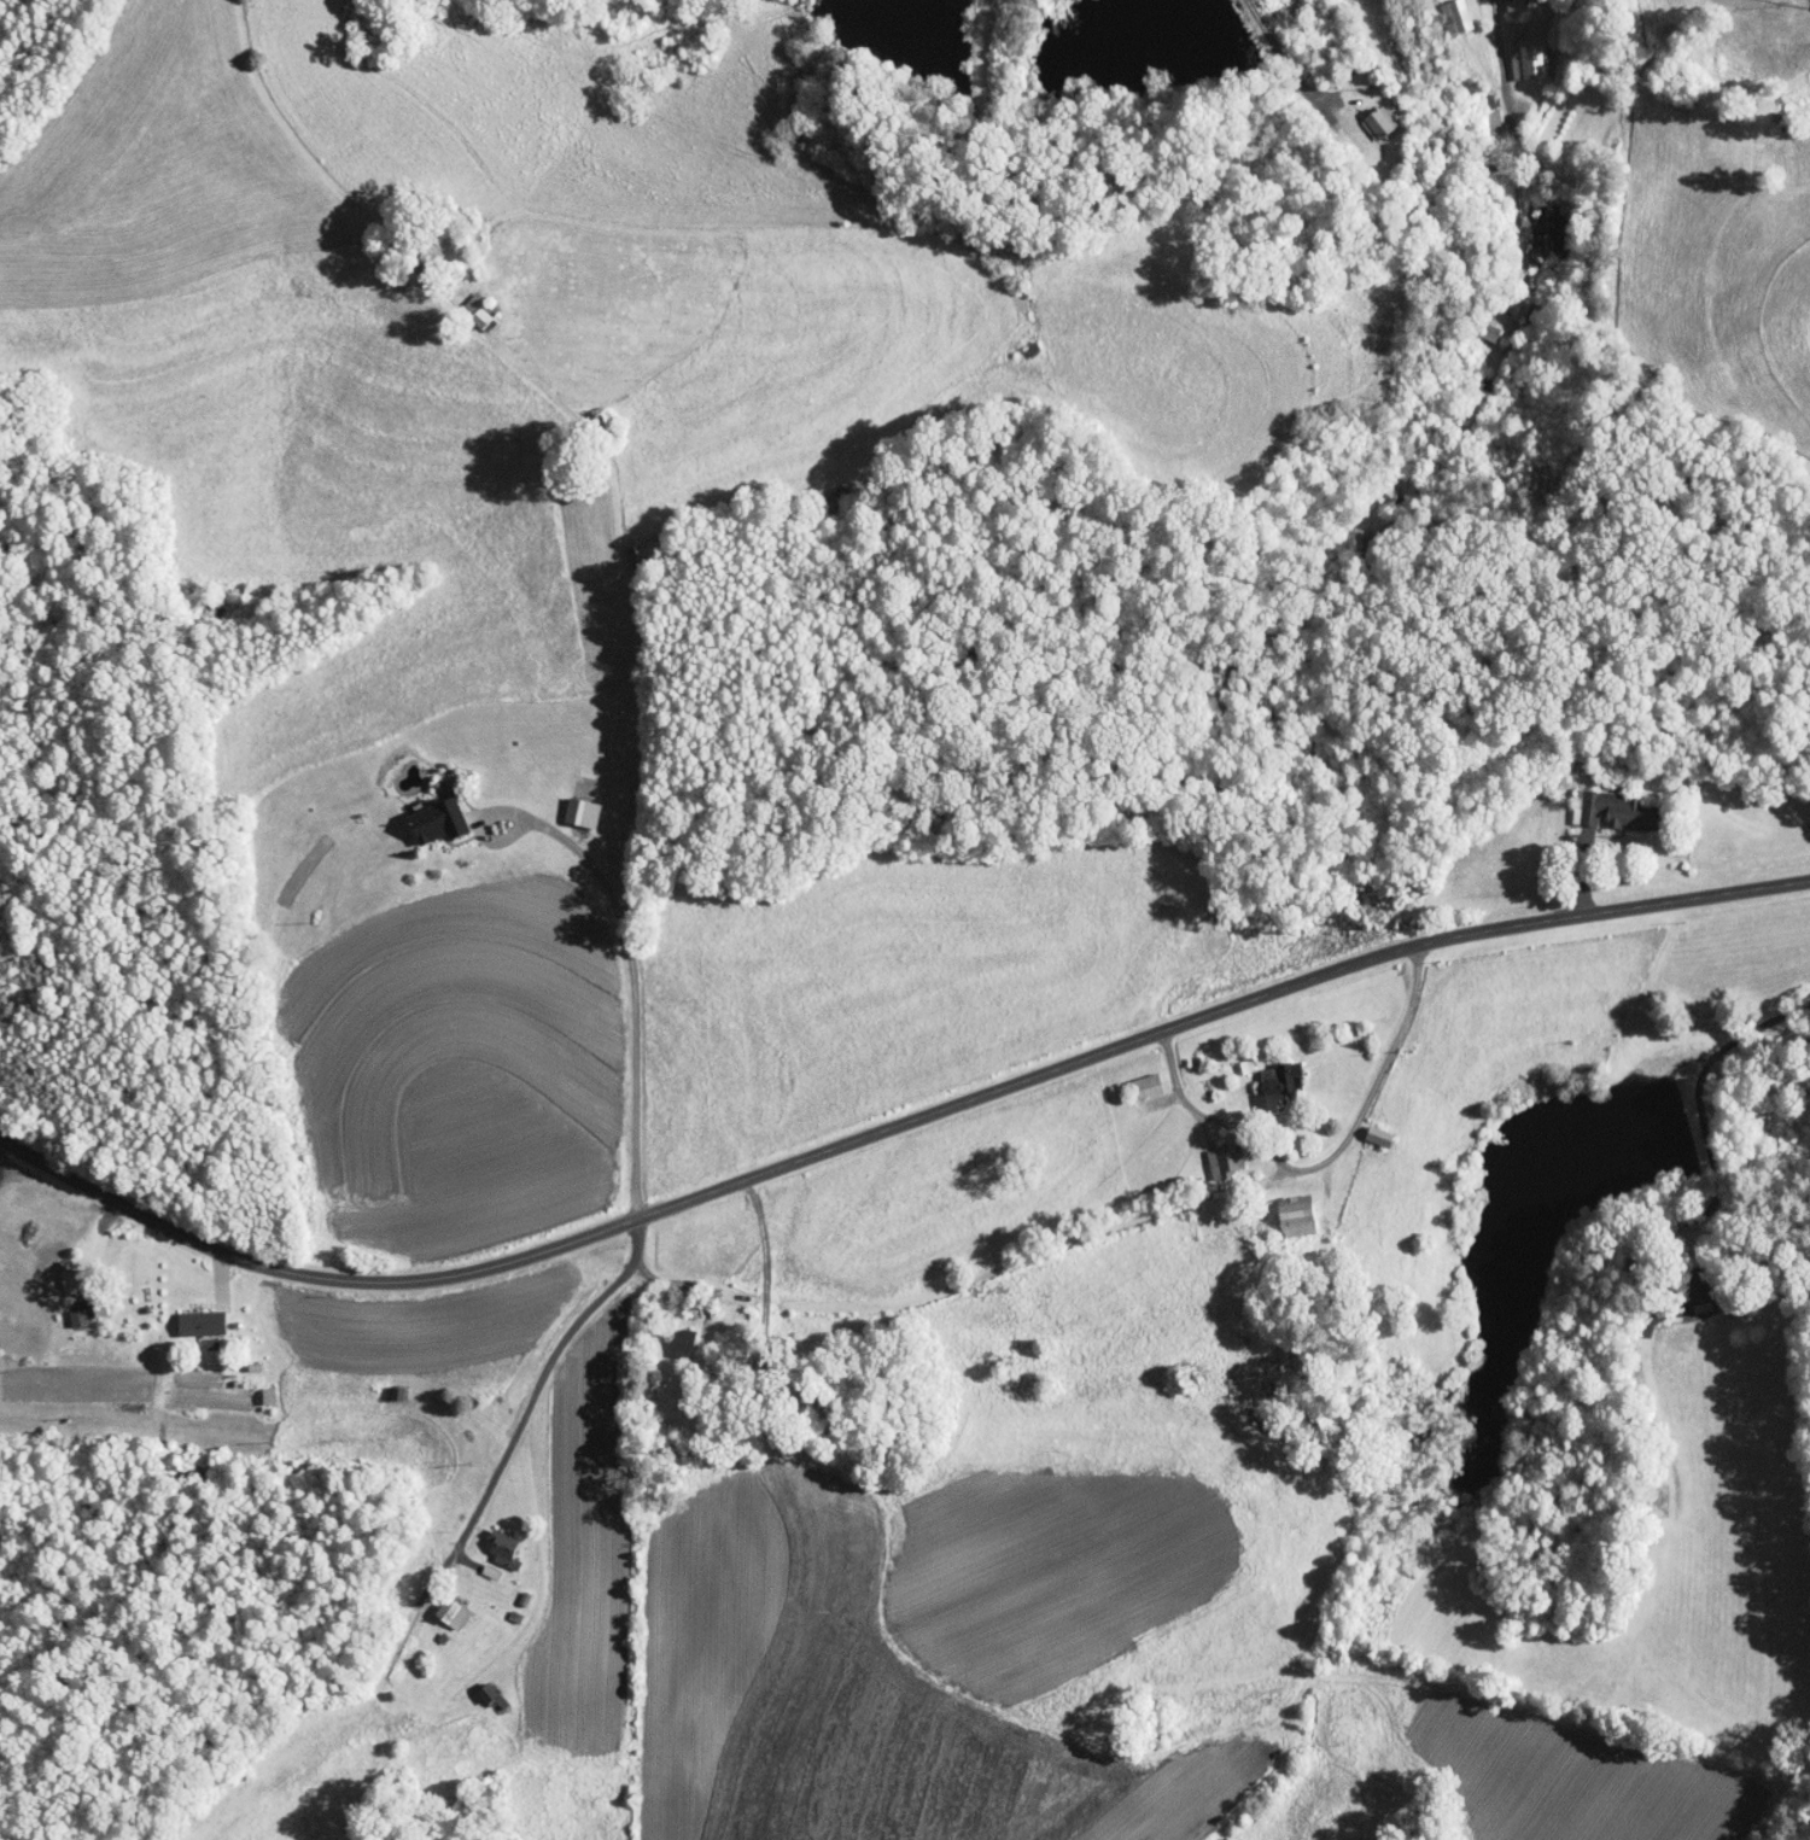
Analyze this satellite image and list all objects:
building: (1502, 2)
building: (1443, 12)
building: (1514, 54)
road: (1286, 62)
building: (1370, 115)
road: (1516, 124)
building: (1539, 222)
road: (418, 271)
building: (468, 303)
building: (1482, 317)
building: (1604, 804)
building: (573, 805)
building: (431, 814)
road: (632, 999)
road: (1710, 1073)
building: (1267, 1079)
road: (894, 1128)
road: (2, 1145)
building: (1213, 1153)
road: (1323, 1162)
building: (1288, 1208)
building: (57, 1269)
building: (68, 1310)
building: (192, 1316)
building: (670, 1337)
building: (257, 1389)
road: (522, 1419)
building: (494, 1541)
building: (442, 1606)

